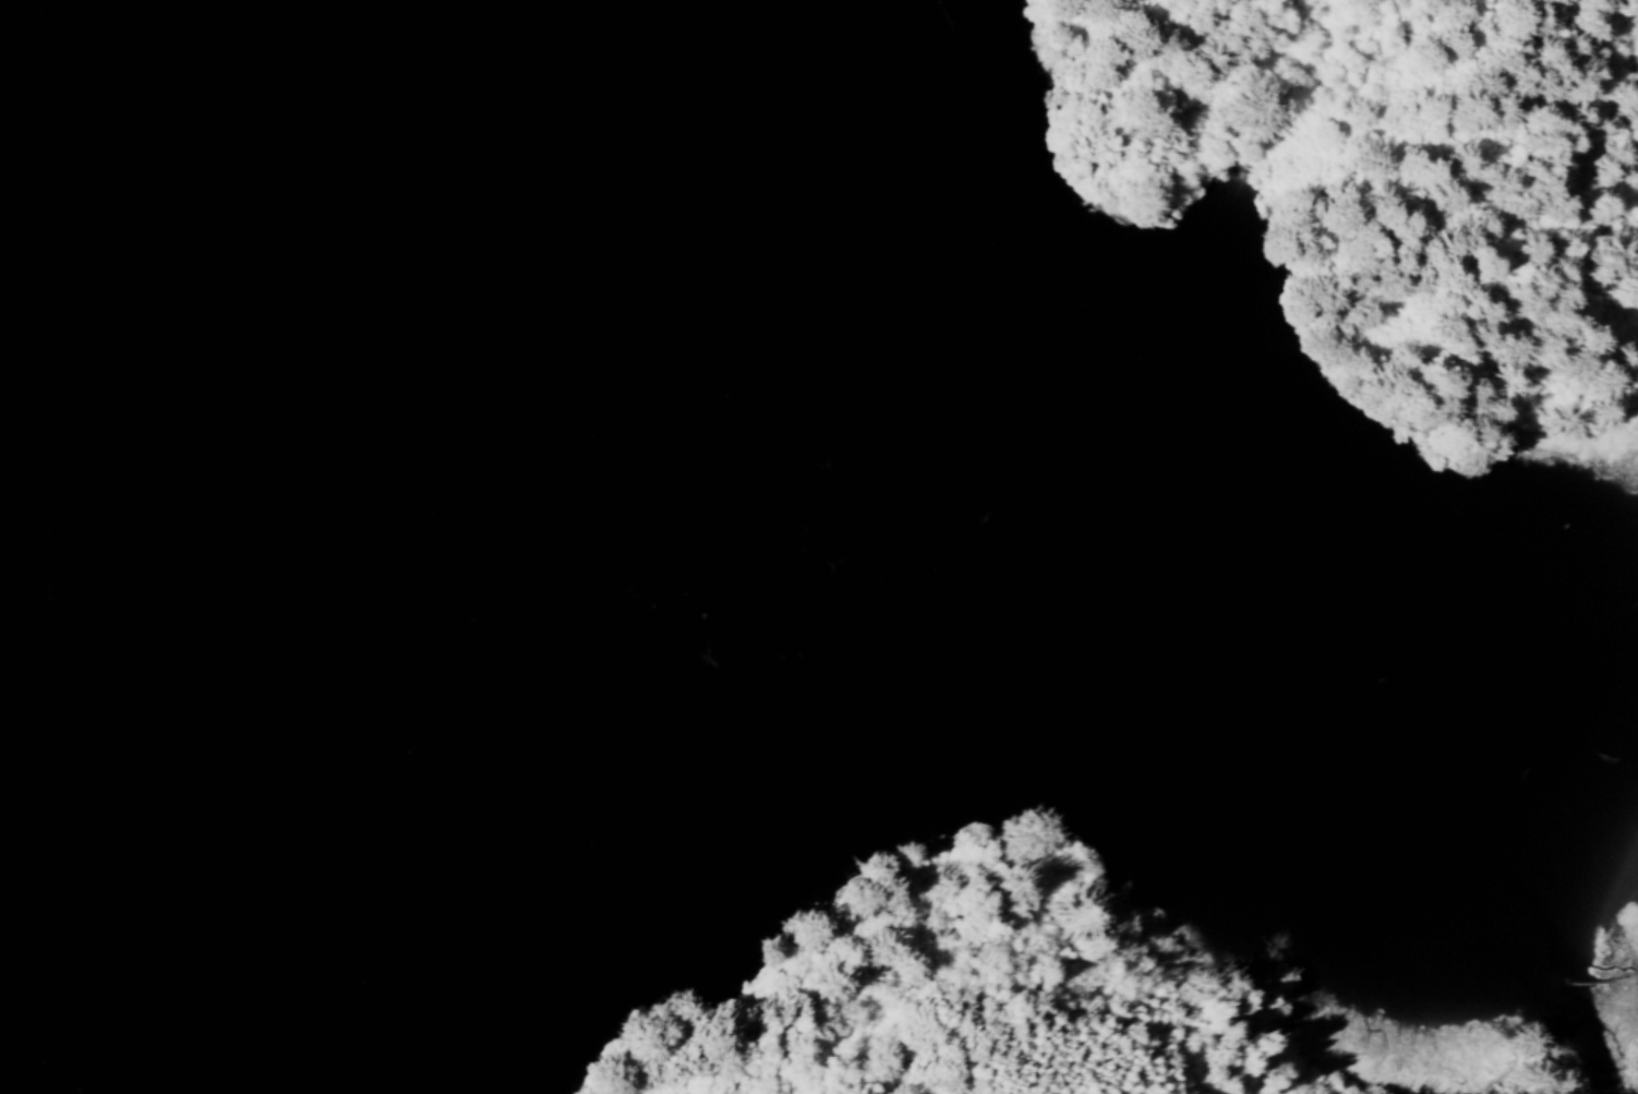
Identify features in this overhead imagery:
river: (86, 189)

